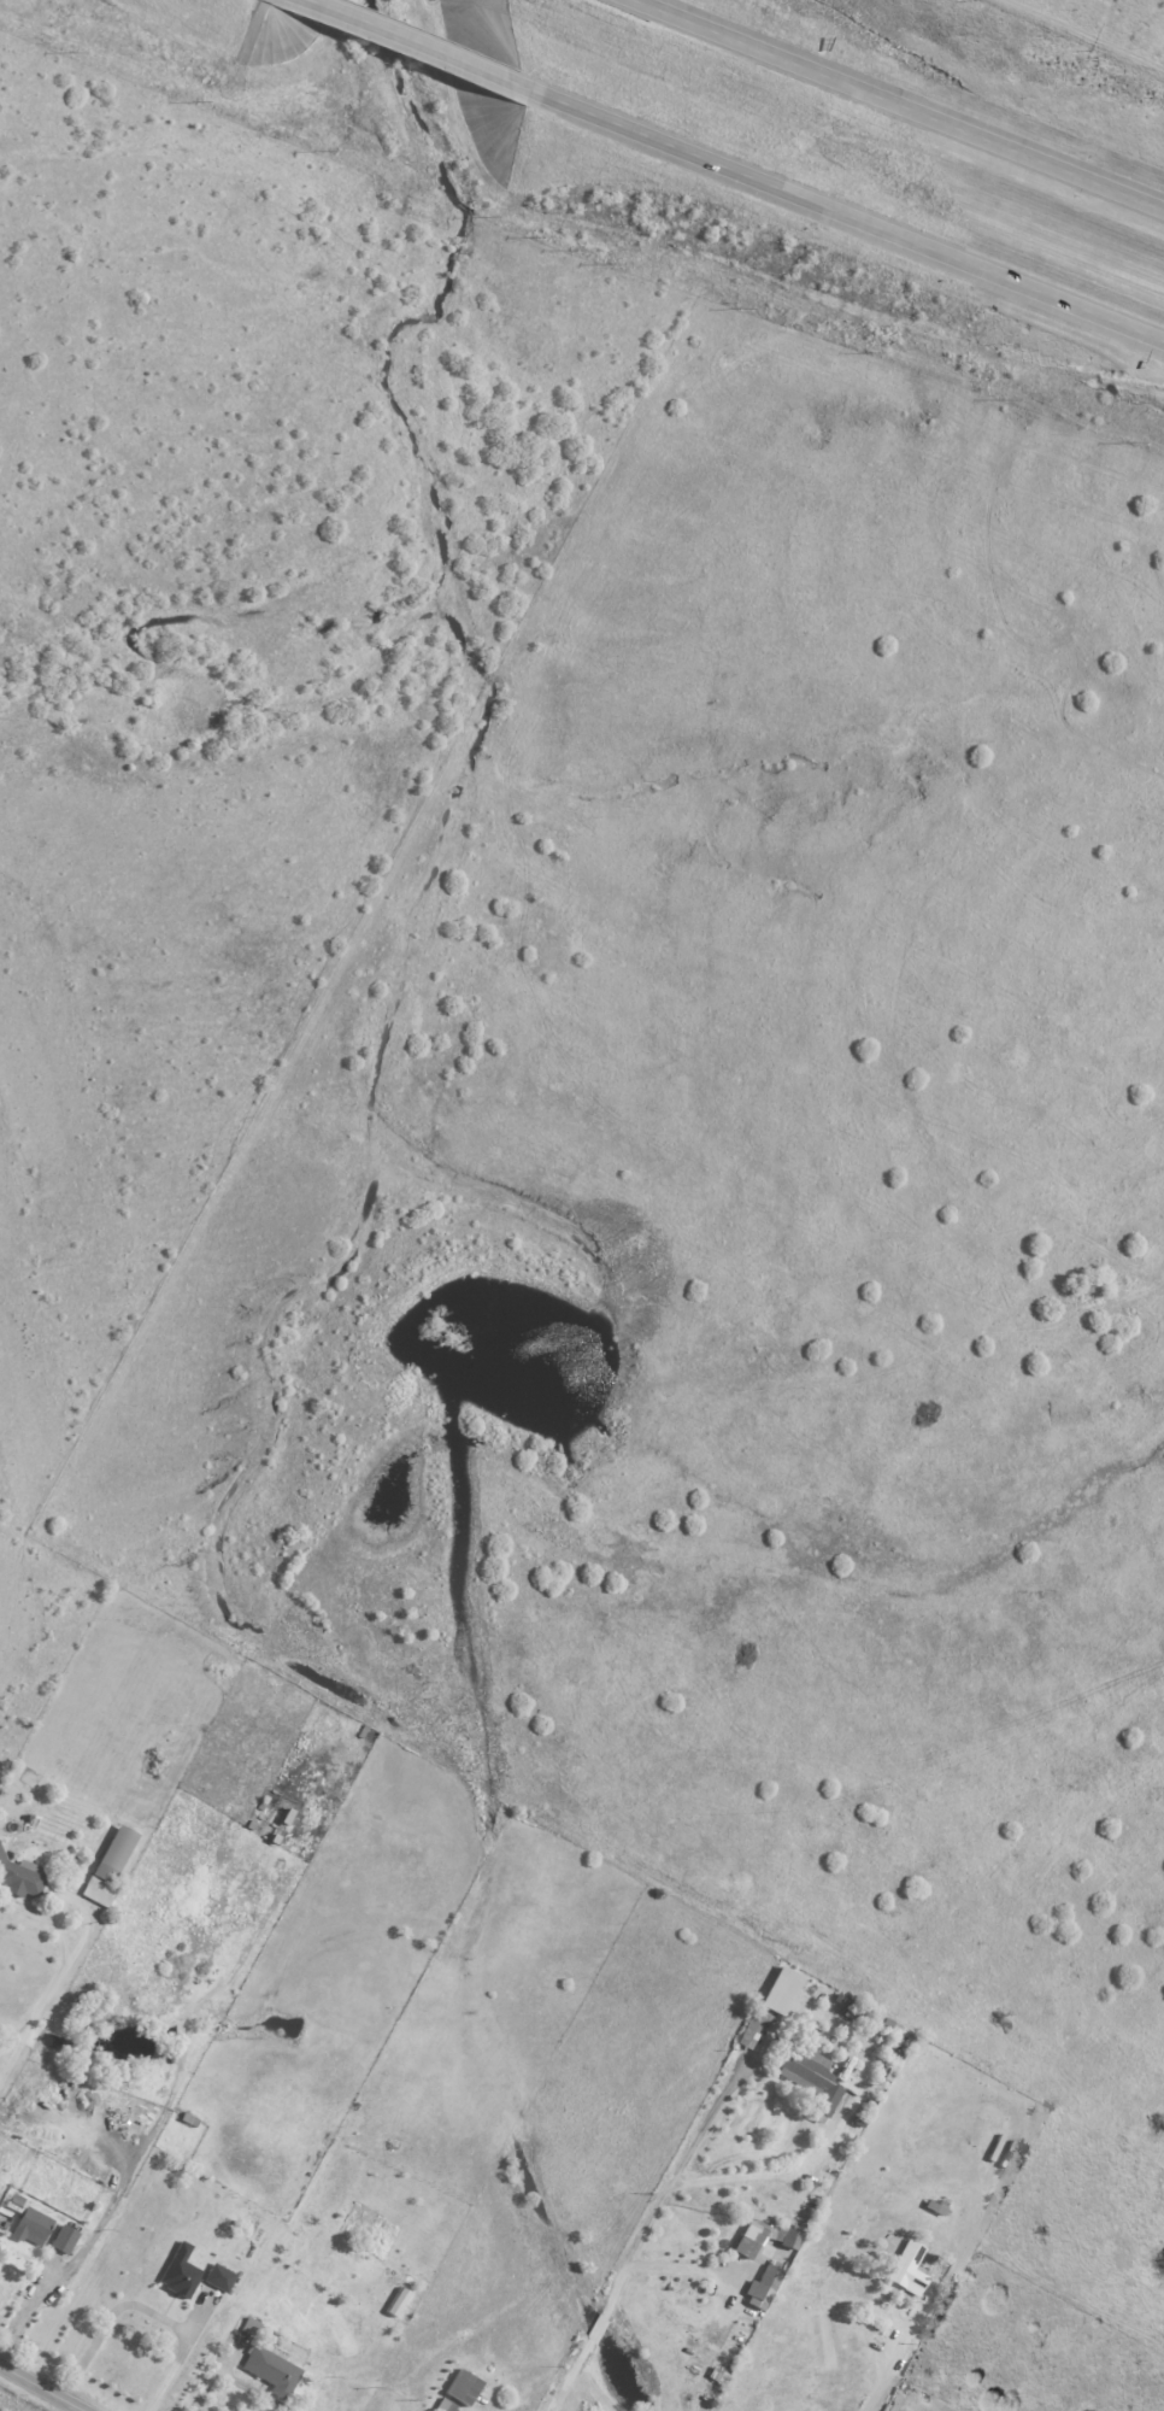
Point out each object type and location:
road: (423, 43)
road: (901, 104)
road: (847, 215)
building: (1089, 1285)
building: (364, 1731)
building: (264, 1803)
building: (131, 1825)
building: (67, 1858)
building: (110, 1866)
building: (27, 1878)
building: (780, 1989)
building: (816, 1993)
building: (854, 2013)
road: (35, 2016)
building: (874, 2024)
building: (757, 2026)
building: (900, 2059)
building: (811, 2075)
building: (1007, 2090)
building: (111, 2095)
building: (189, 2119)
building: (994, 2122)
road: (757, 2176)
building: (937, 2207)
building: (30, 2221)
building: (787, 2234)
road: (639, 2240)
building: (64, 2242)
building: (754, 2242)
building: (366, 2245)
building: (907, 2268)
road: (677, 2269)
building: (181, 2274)
building: (219, 2277)
building: (766, 2284)
road: (28, 2307)
building: (268, 2316)
building: (252, 2327)
road: (183, 2348)
building: (272, 2370)
building: (716, 2374)
road: (882, 2376)
road: (233, 2380)
building: (463, 2387)
road: (39, 2389)
building: (446, 2405)

